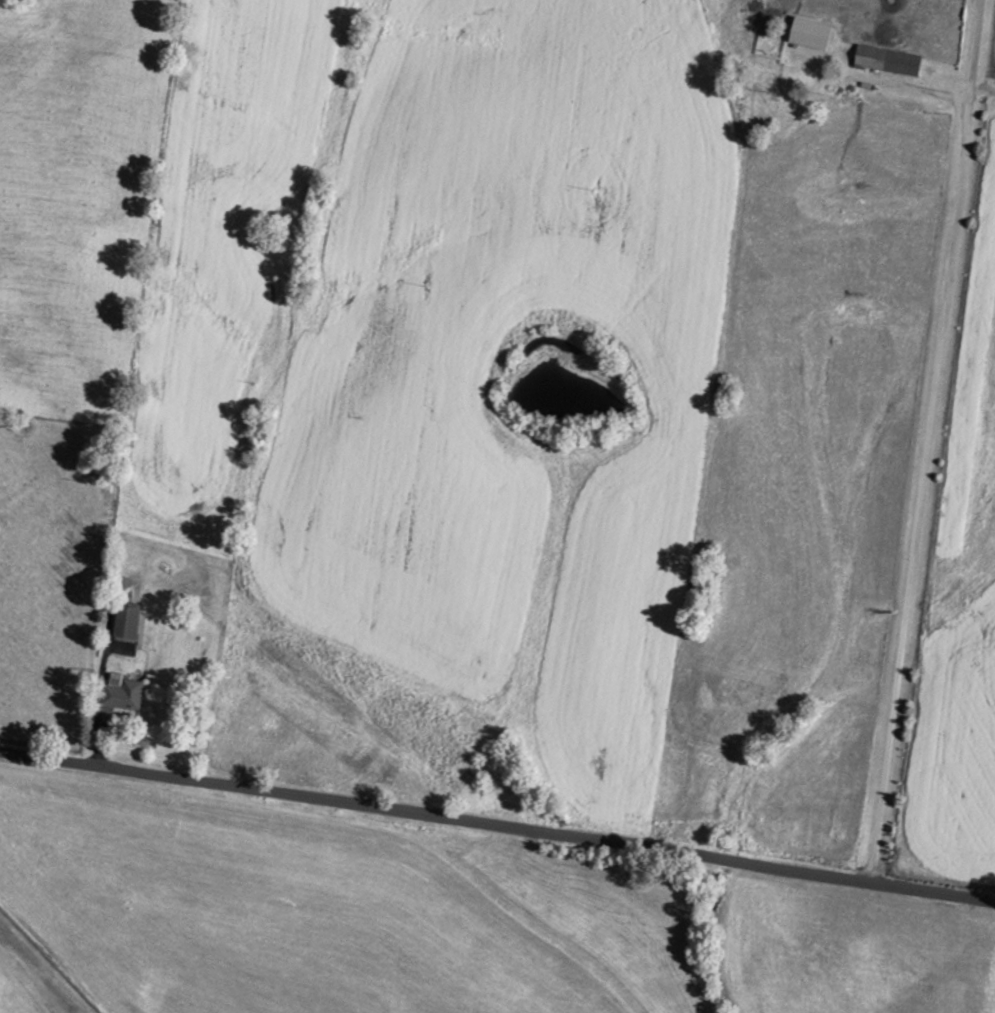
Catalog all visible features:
building: (812, 39)
building: (891, 60)
road: (872, 79)
road: (982, 87)
road: (923, 439)
building: (128, 620)
building: (124, 691)
road: (497, 824)

